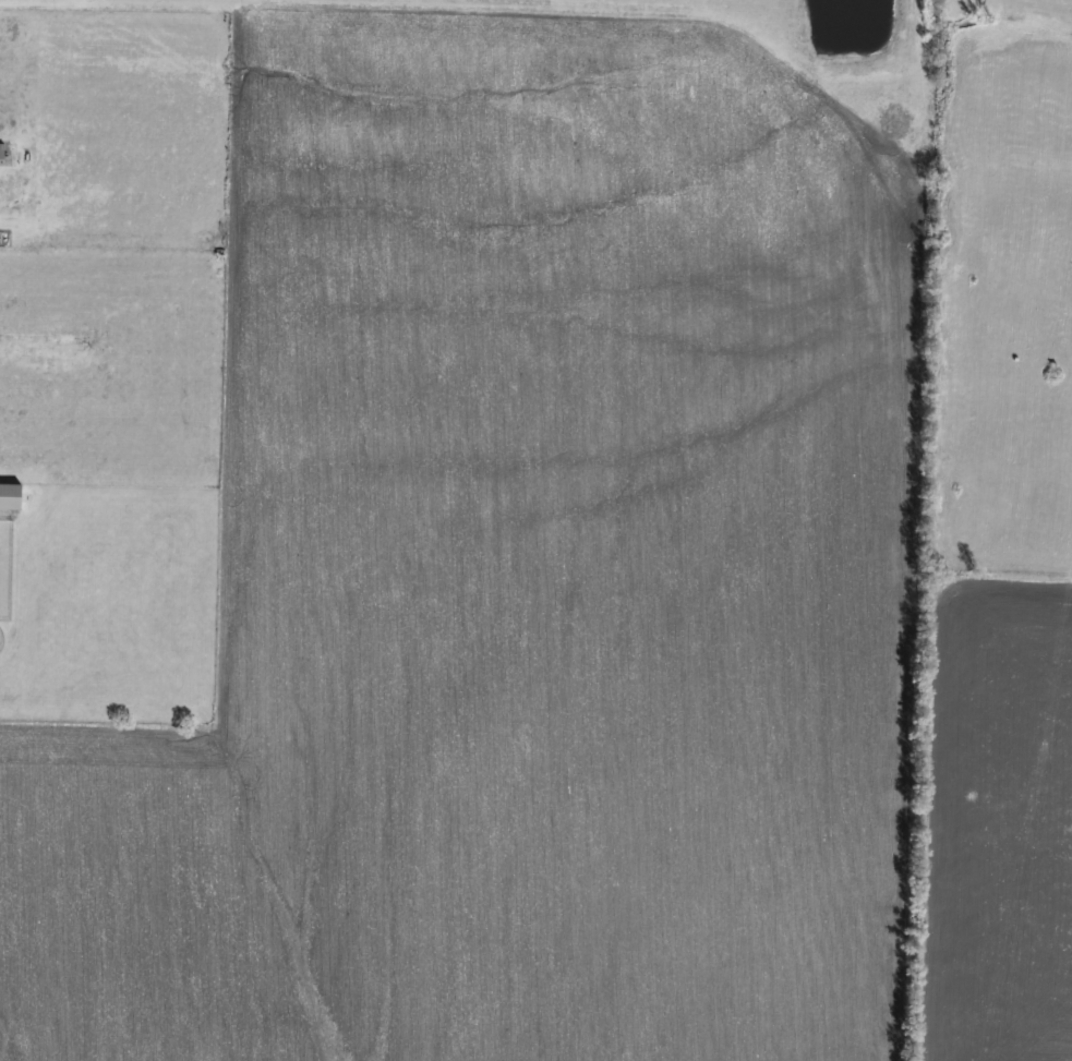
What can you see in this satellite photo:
building: (1, 154)
building: (9, 496)

